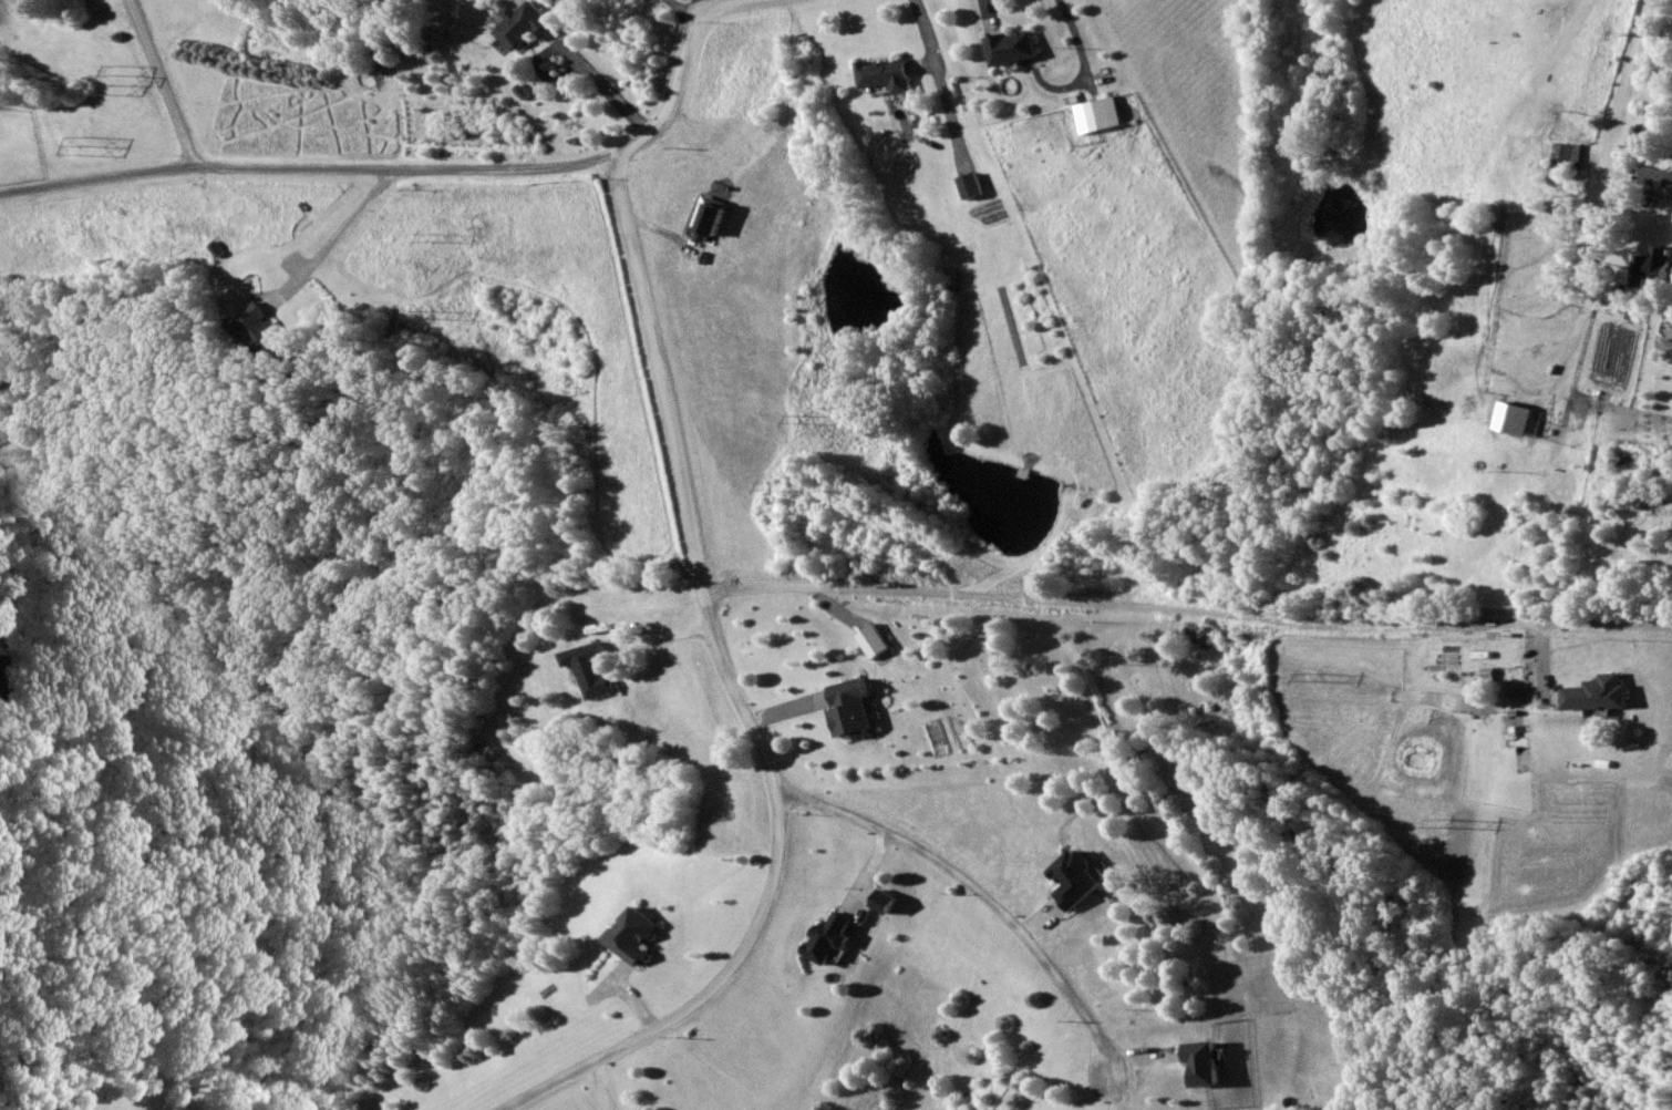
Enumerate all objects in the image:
building: (530, 28)
building: (1018, 48)
building: (892, 75)
road: (165, 82)
building: (1107, 114)
road: (1611, 134)
power tower: (89, 146)
building: (1570, 157)
road: (200, 166)
road: (531, 172)
building: (1659, 179)
building: (974, 187)
building: (1659, 267)
power tower: (424, 316)
building: (265, 330)
power tower: (768, 483)
road: (1188, 609)
road: (668, 634)
building: (877, 641)
road: (1540, 656)
power tower: (1113, 658)
building: (598, 669)
building: (1599, 693)
road: (743, 701)
building: (856, 708)
road: (787, 711)
power tower: (1444, 822)
building: (1078, 878)
road: (980, 894)
building: (889, 902)
building: (647, 936)
building: (832, 938)
building: (1206, 1062)

